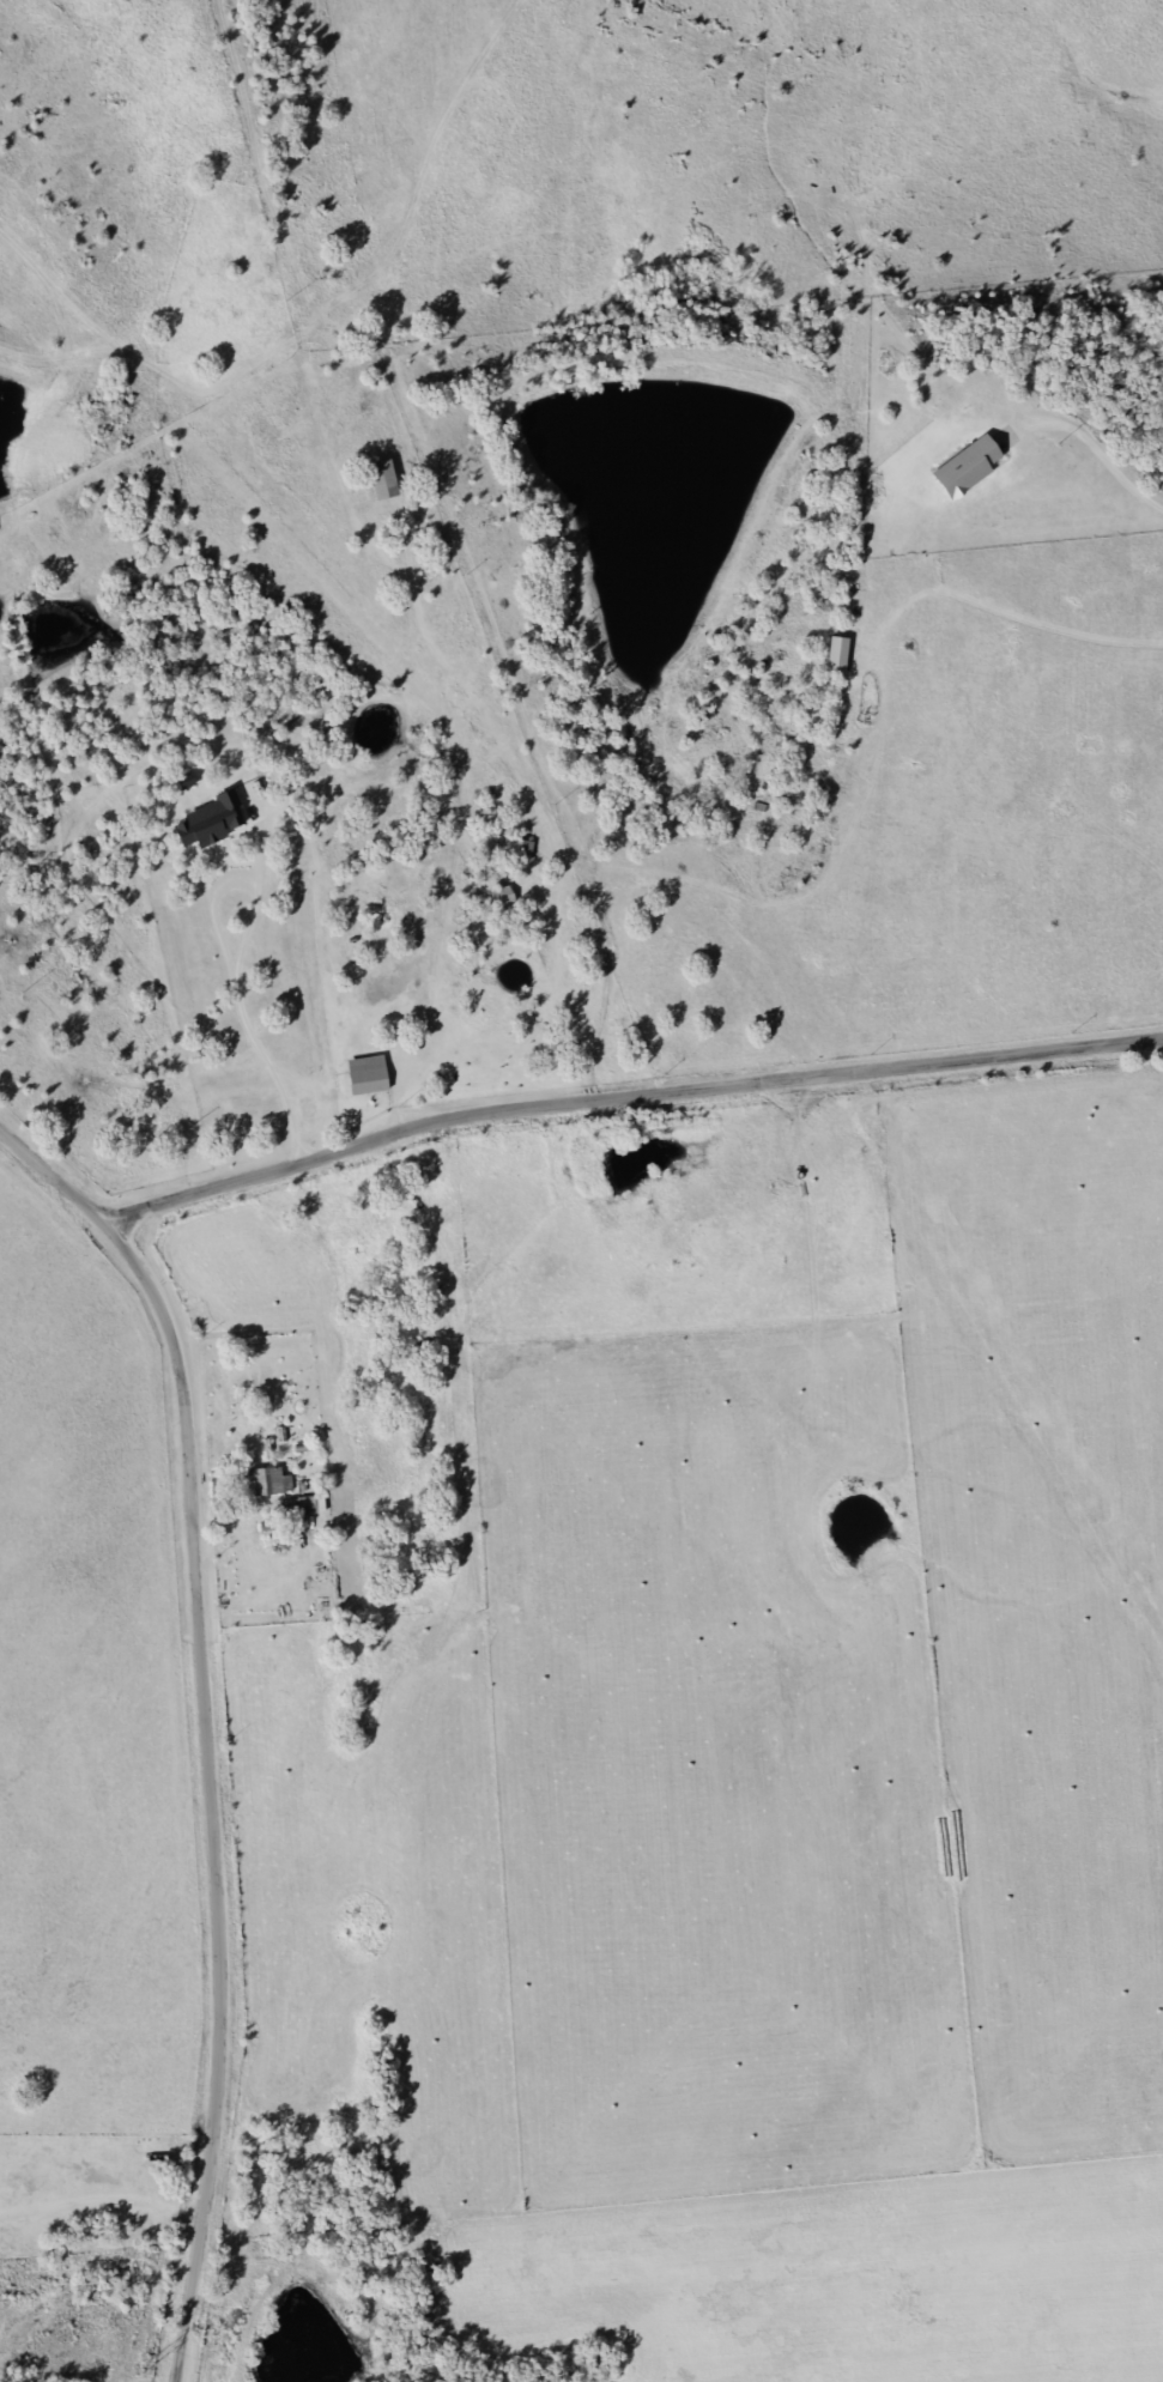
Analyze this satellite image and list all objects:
building: (271, 424)
building: (962, 468)
building: (378, 480)
road: (454, 747)
building: (520, 849)
building: (501, 897)
building: (363, 1075)
road: (626, 1098)
building: (265, 1481)
building: (308, 1504)
road: (228, 1519)
road: (205, 1725)

